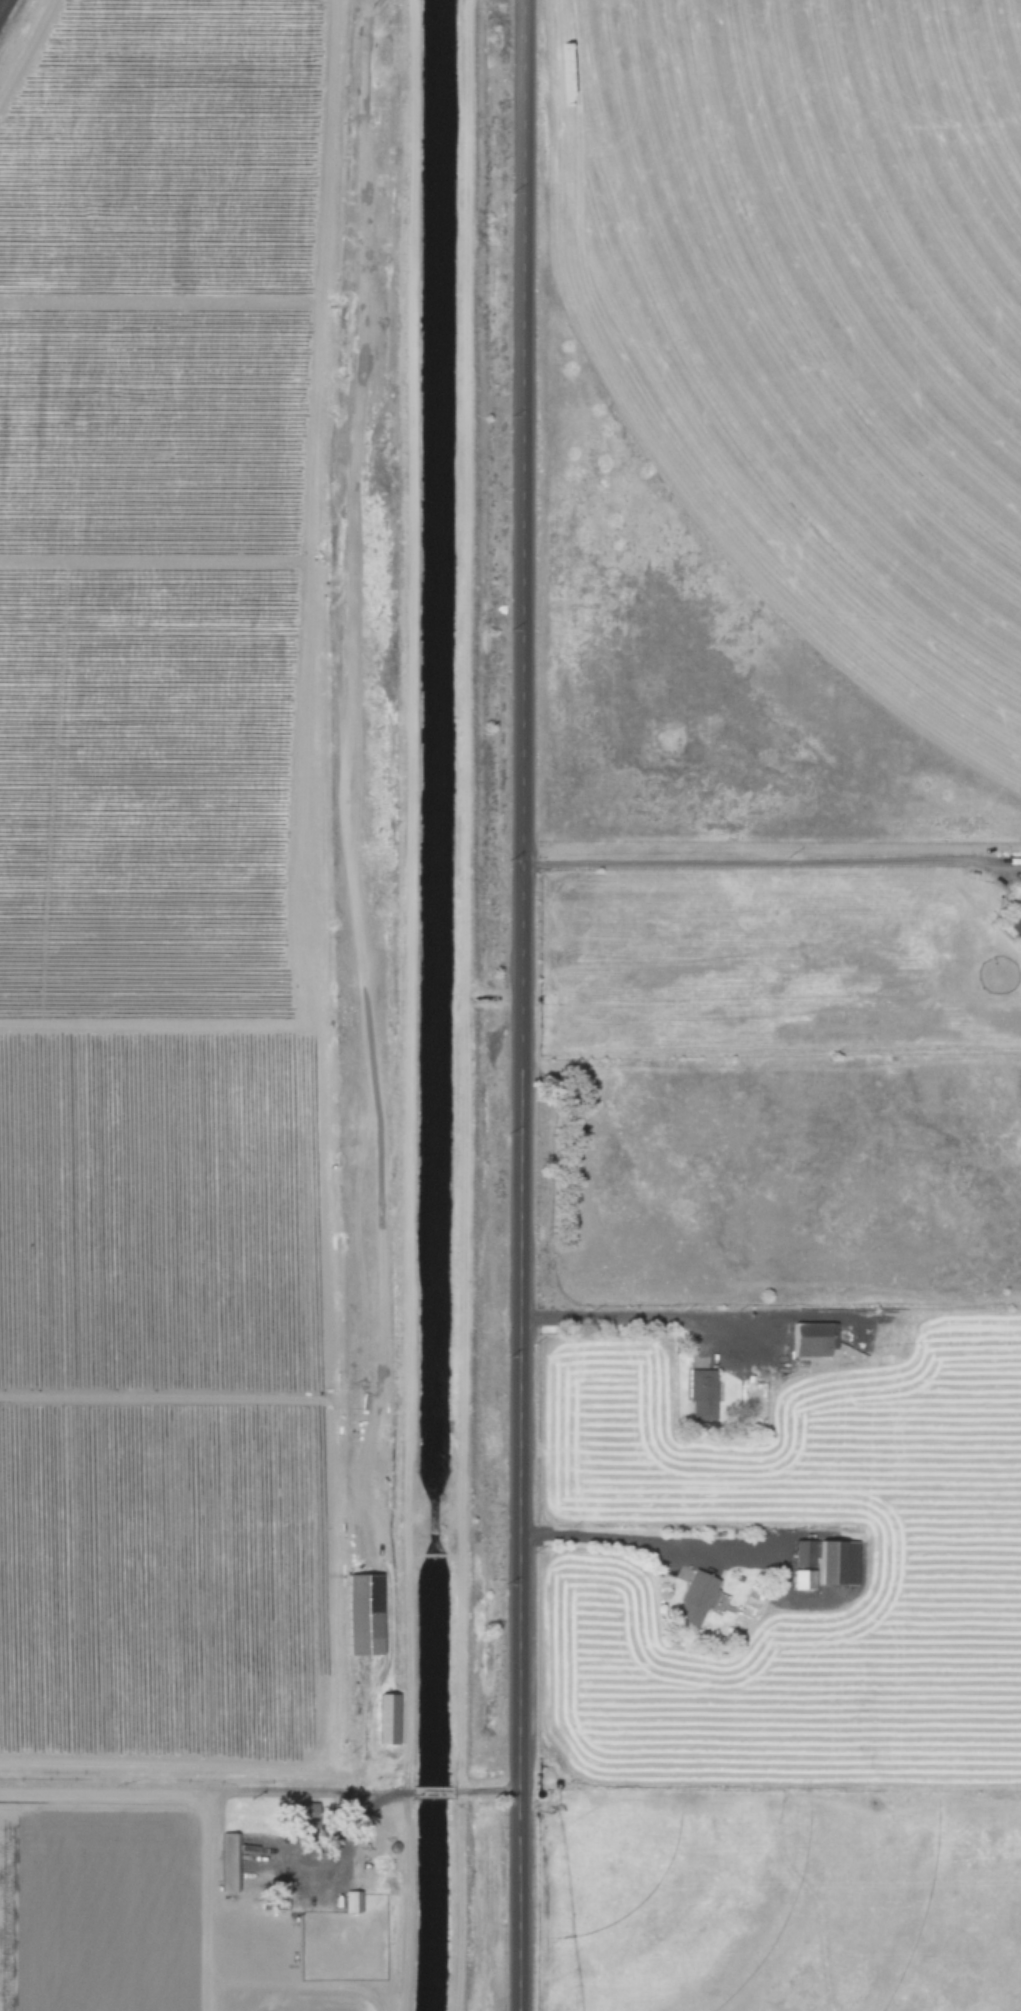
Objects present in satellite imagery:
railway: (0, 1)
crop: (833, 266)
road: (768, 862)
building: (1020, 893)
road: (354, 900)
building: (1014, 923)
crop: (175, 972)
road: (407, 1005)
road: (461, 1005)
road: (520, 1005)
road: (631, 1317)
building: (812, 1337)
building: (700, 1392)
road: (614, 1536)
building: (801, 1551)
building: (839, 1560)
building: (802, 1578)
building: (694, 1593)
building: (362, 1612)
building: (384, 1717)
road: (430, 1790)
road: (484, 1790)
road: (361, 1815)
building: (226, 1860)
building: (350, 1900)
crop: (267, 1980)

